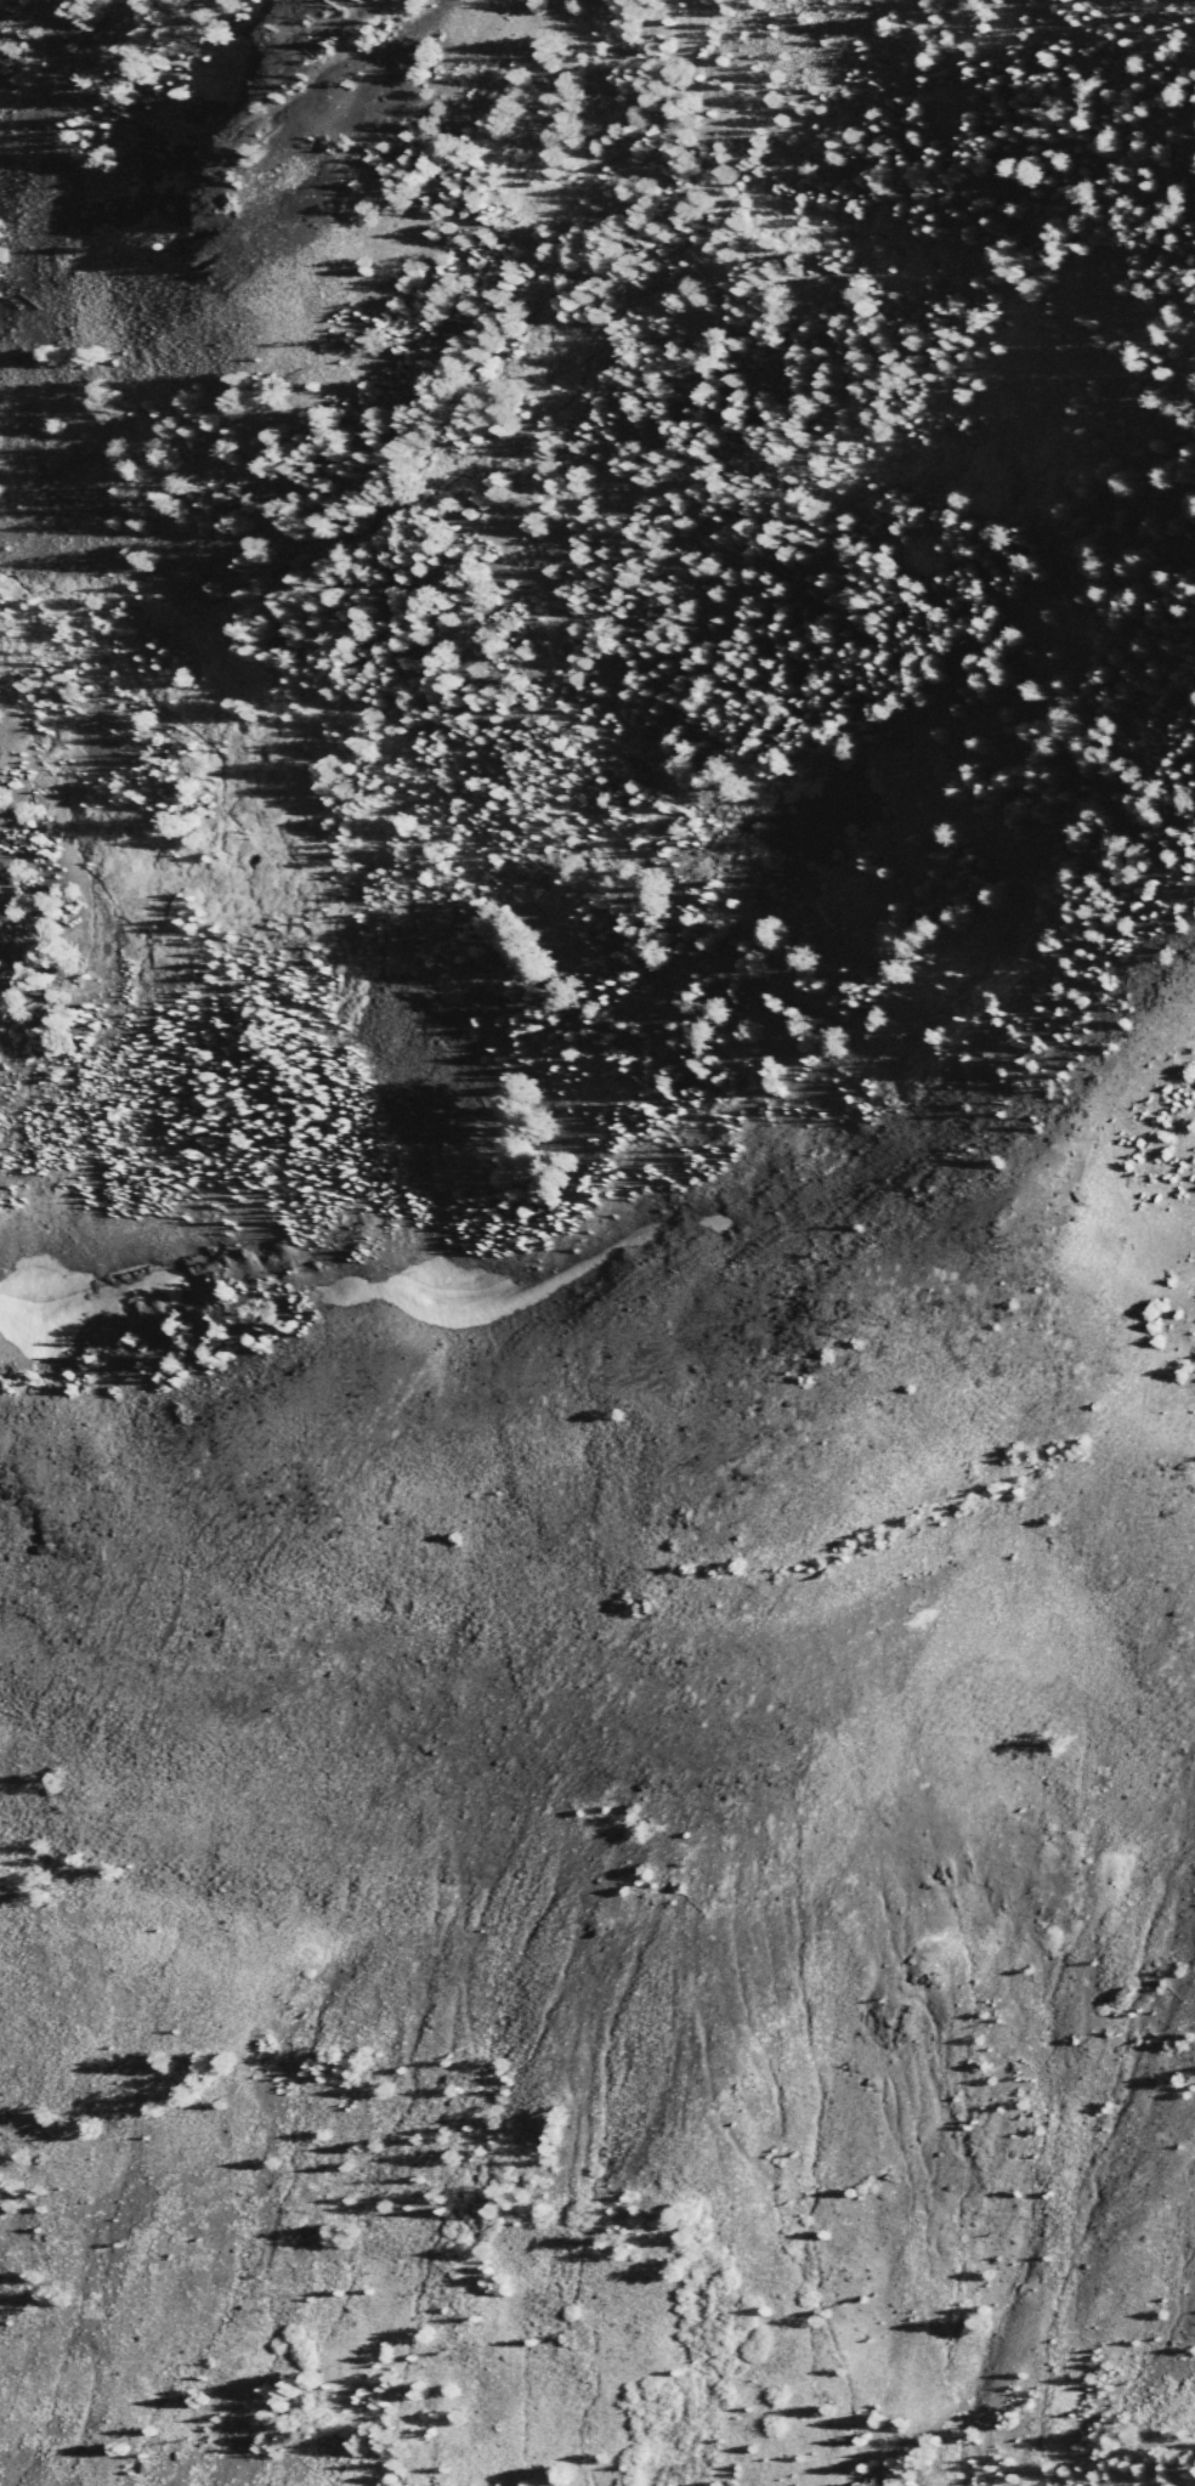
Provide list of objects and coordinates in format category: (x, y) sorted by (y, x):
road: (944, 2414)

